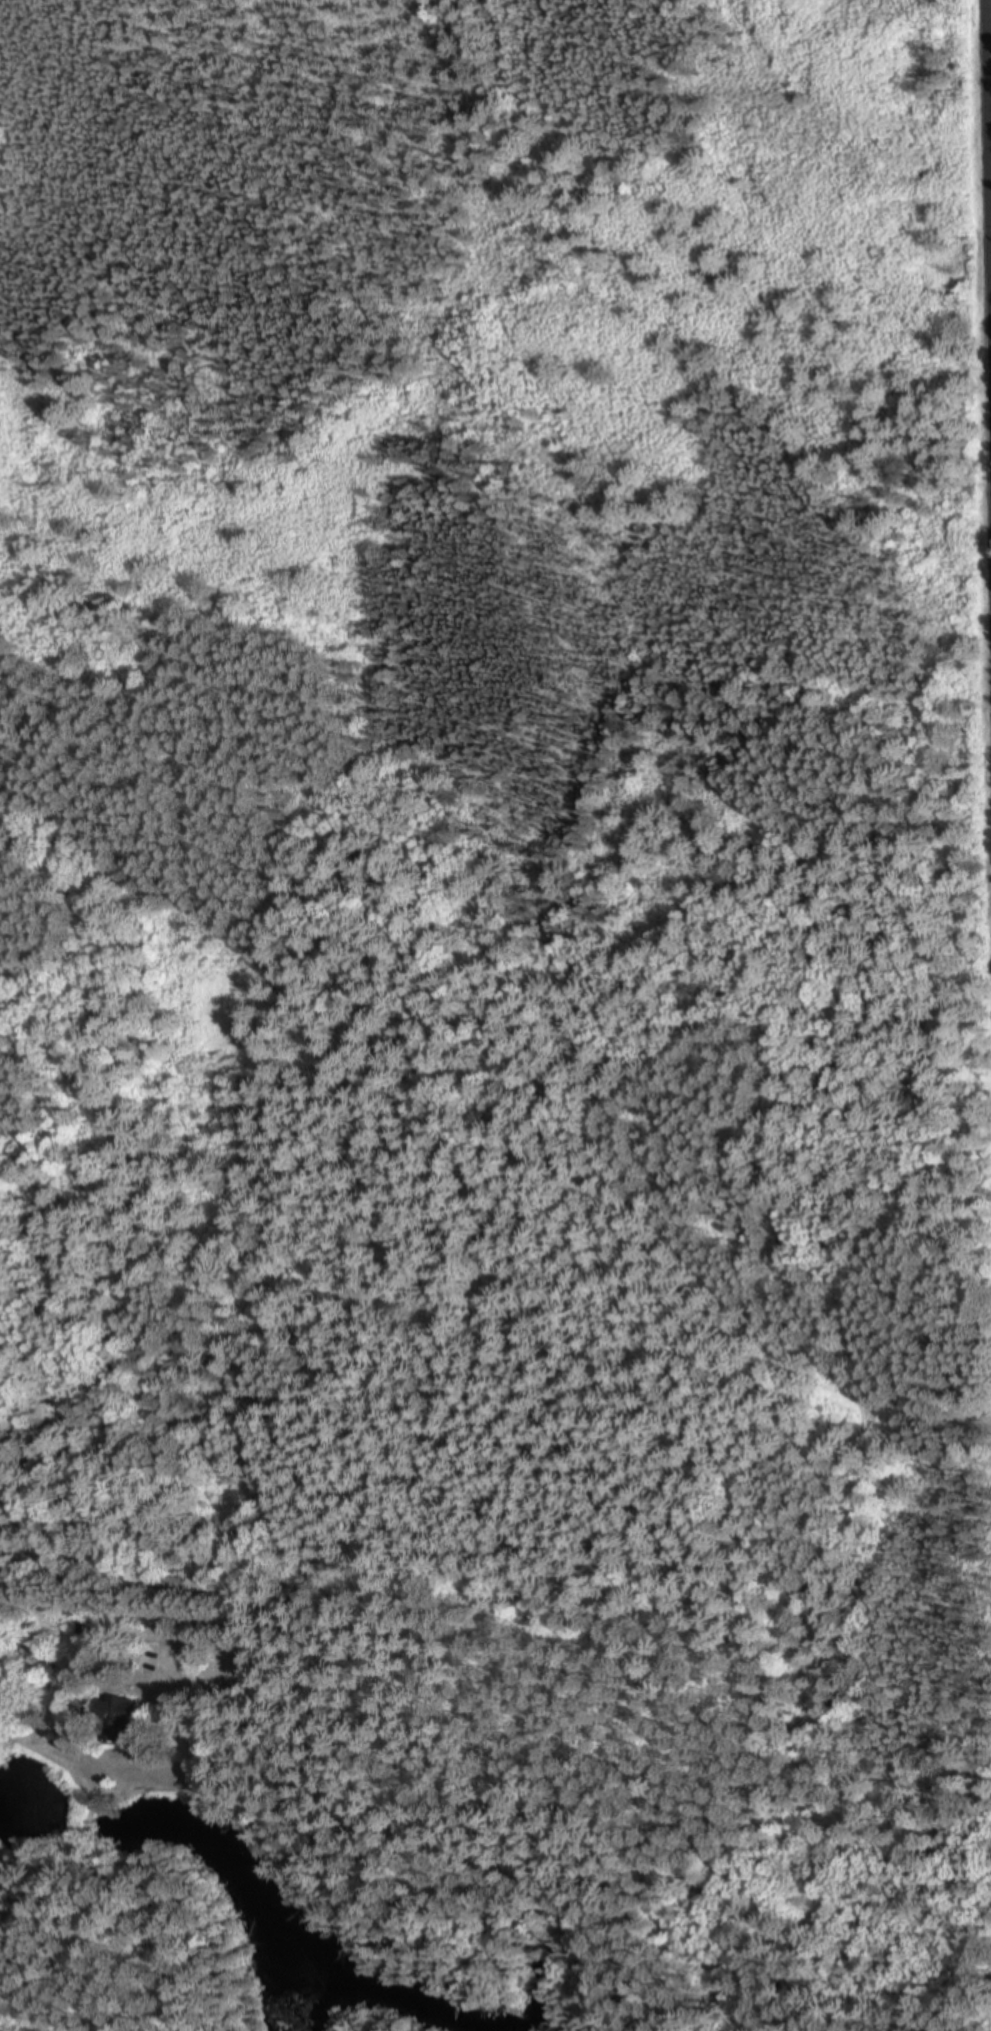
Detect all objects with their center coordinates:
road: (990, 64)
road: (920, 1408)
road: (825, 1481)
road: (650, 1808)

